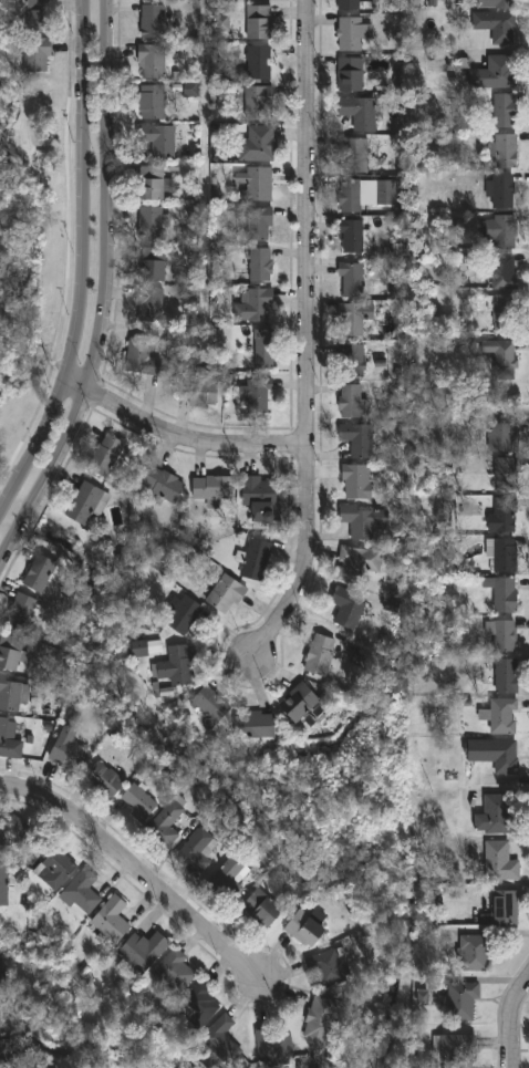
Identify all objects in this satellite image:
building: (501, 3)
building: (352, 4)
building: (40, 15)
building: (154, 20)
building: (259, 22)
building: (221, 23)
building: (497, 25)
building: (353, 34)
building: (37, 54)
building: (153, 60)
building: (260, 63)
building: (496, 74)
building: (351, 75)
building: (190, 90)
building: (153, 101)
building: (259, 102)
building: (363, 111)
building: (506, 111)
building: (159, 138)
building: (258, 144)
building: (507, 151)
building: (355, 154)
building: (155, 182)
building: (257, 182)
building: (504, 190)
building: (367, 191)
building: (154, 221)
building: (260, 222)
building: (504, 230)
building: (352, 235)
park: (32, 236)
building: (154, 263)
building: (261, 263)
road: (83, 265)
building: (474, 268)
building: (505, 271)
building: (353, 277)
road: (102, 287)
building: (151, 302)
building: (255, 303)
building: (505, 310)
building: (355, 315)
road: (308, 344)
building: (264, 348)
building: (138, 354)
building: (193, 355)
building: (502, 356)
building: (354, 359)
building: (201, 388)
building: (259, 394)
building: (353, 401)
building: (497, 433)
building: (360, 438)
road: (180, 447)
building: (106, 455)
building: (507, 473)
building: (357, 481)
building: (158, 485)
building: (214, 488)
building: (262, 498)
building: (85, 502)
building: (505, 515)
building: (363, 520)
building: (504, 554)
building: (256, 559)
building: (359, 562)
building: (41, 572)
building: (225, 590)
building: (505, 593)
building: (348, 608)
building: (22, 612)
building: (184, 613)
building: (504, 634)
building: (145, 647)
building: (12, 652)
building: (320, 654)
building: (177, 666)
building: (508, 675)
building: (11, 693)
building: (300, 702)
building: (210, 704)
building: (501, 716)
building: (256, 725)
building: (10, 739)
building: (70, 750)
building: (497, 754)
building: (106, 779)
building: (139, 802)
building: (498, 815)
building: (166, 826)
building: (11, 828)
building: (197, 851)
building: (500, 860)
building: (53, 864)
road: (129, 869)
building: (232, 875)
building: (3, 884)
building: (81, 891)
building: (263, 908)
building: (505, 908)
building: (112, 920)
building: (308, 926)
building: (143, 952)
building: (477, 952)
building: (328, 967)
building: (174, 975)
building: (1, 976)
building: (422, 998)
building: (463, 1000)
building: (197, 1006)
road: (510, 1018)
building: (321, 1019)
building: (221, 1030)
building: (272, 1047)
building: (455, 1048)
building: (4, 1058)

